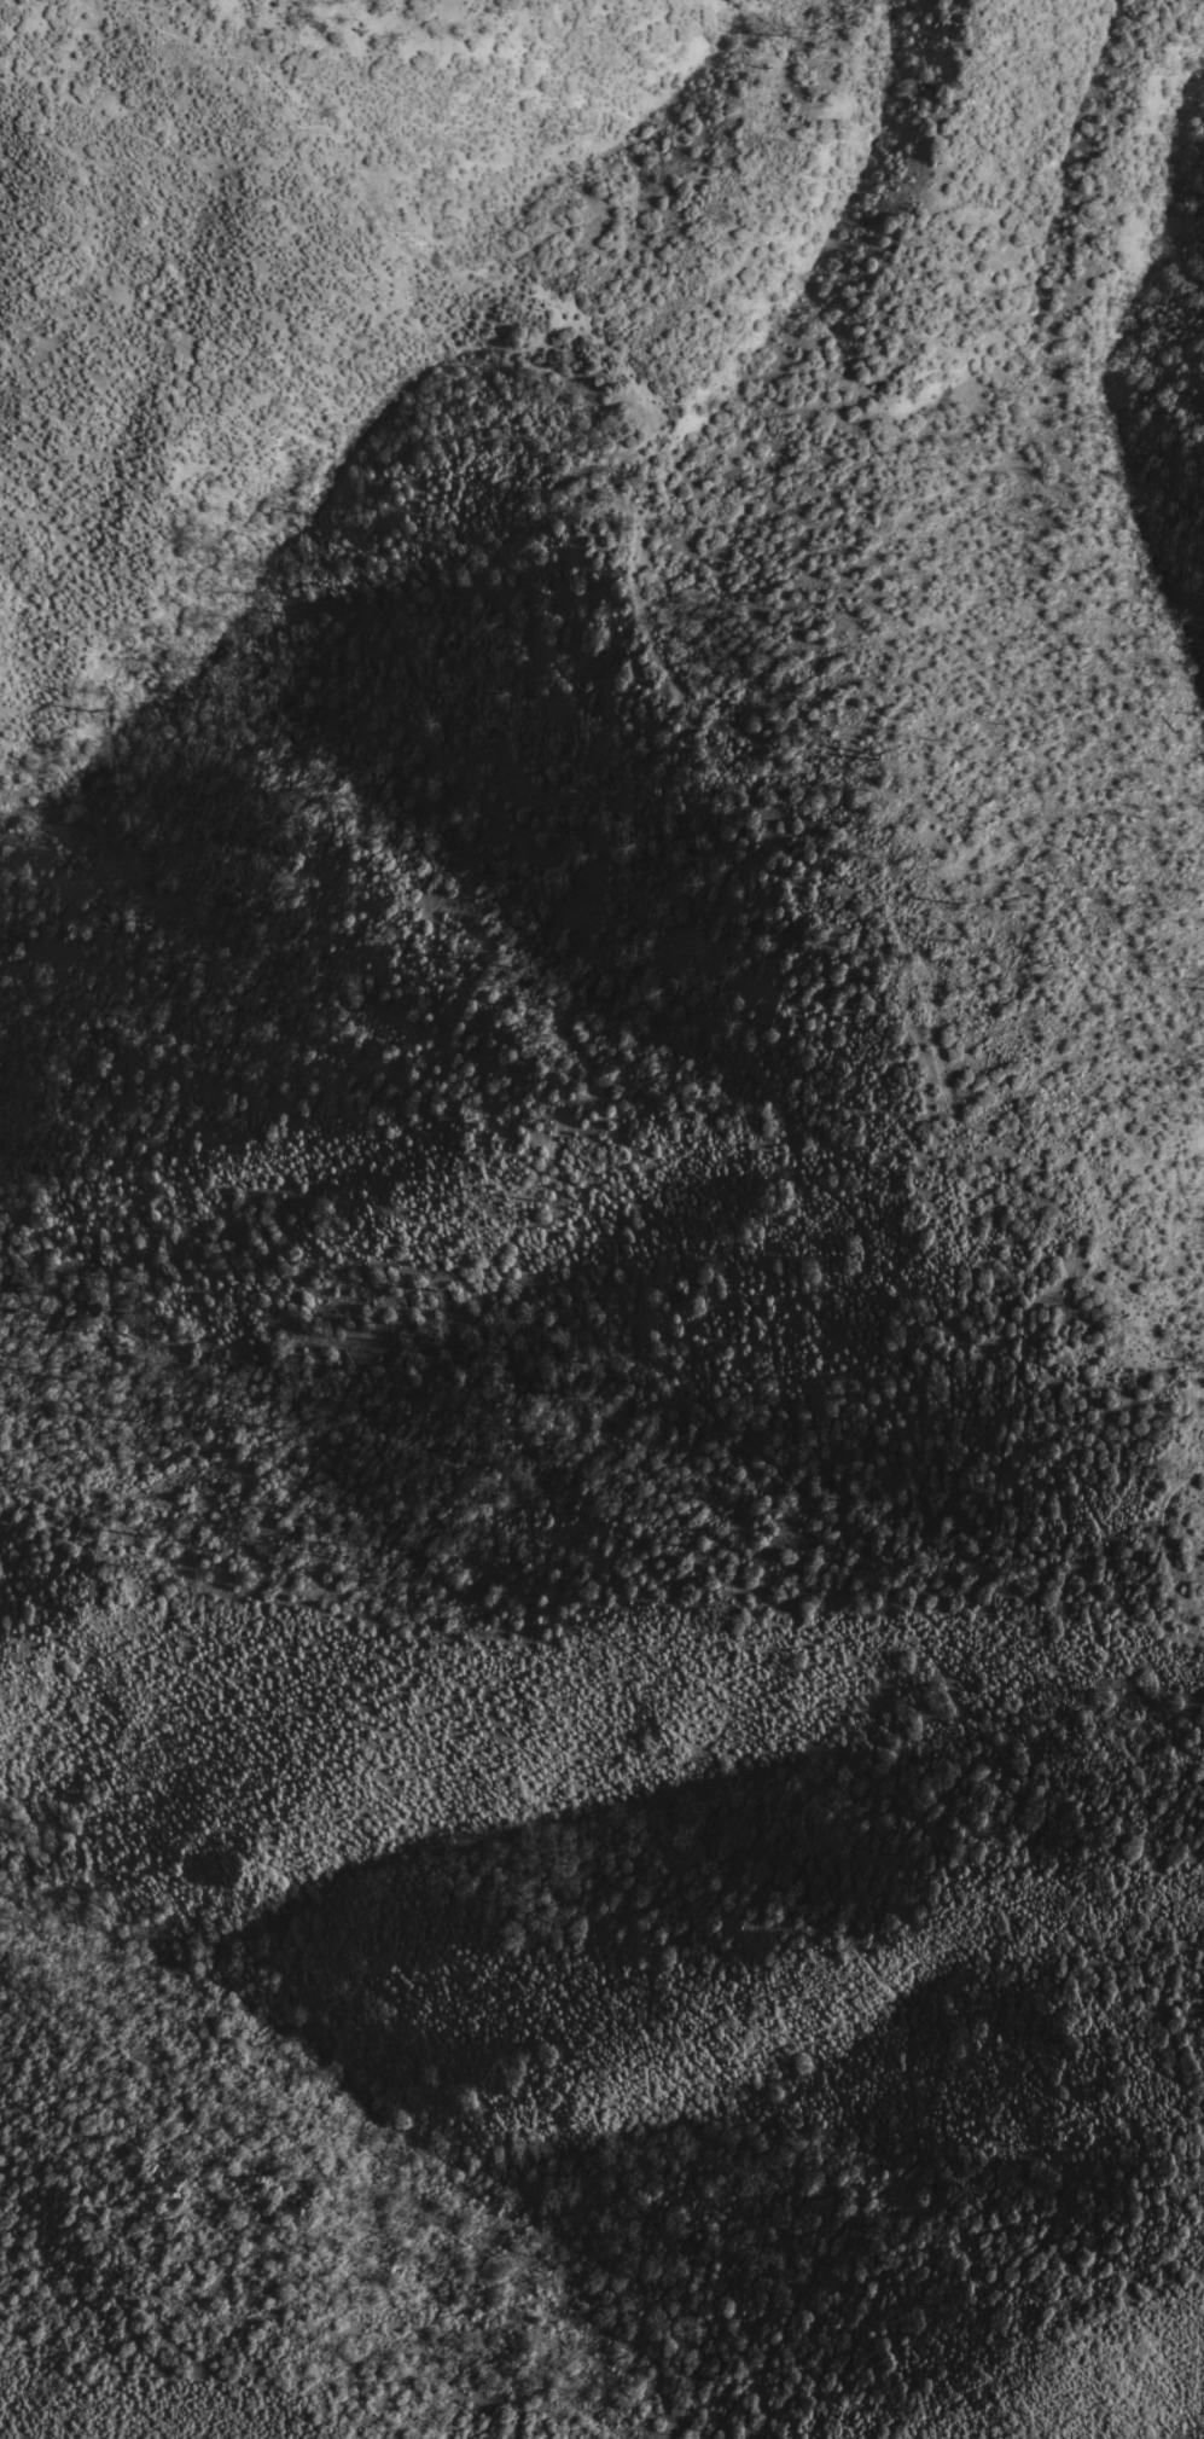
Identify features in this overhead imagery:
road: (441, 256)
road: (956, 1578)

